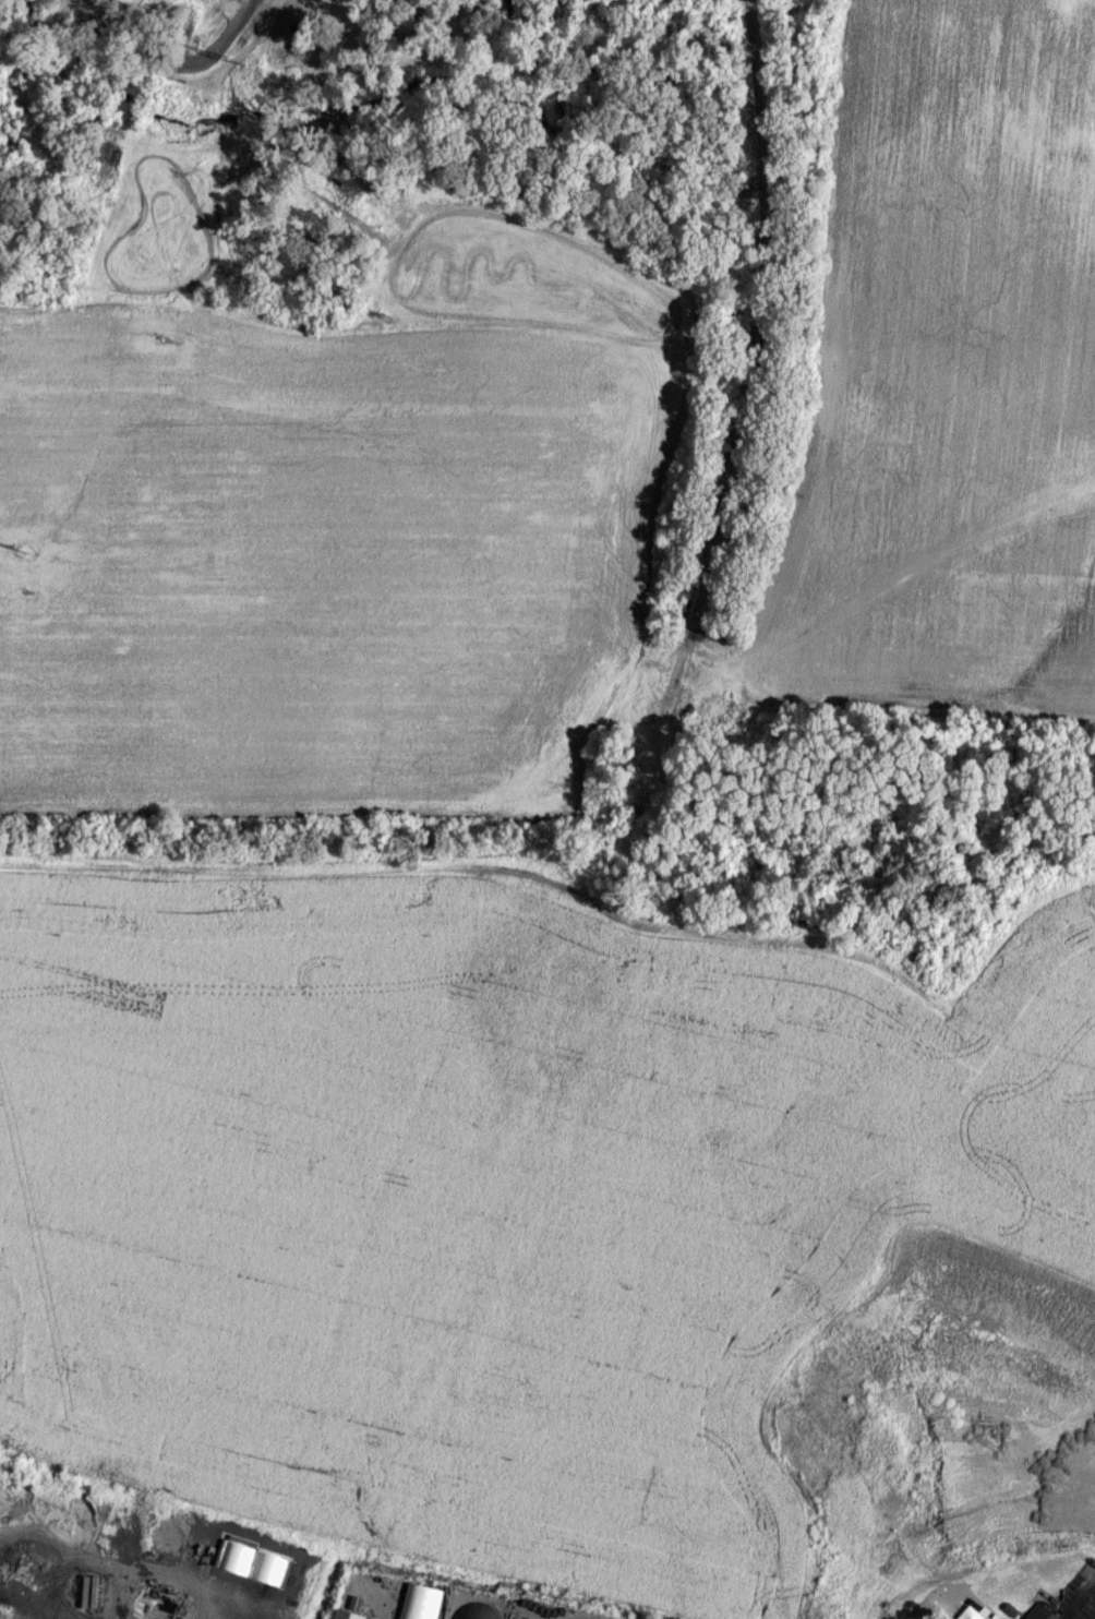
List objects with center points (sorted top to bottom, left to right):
power tower: (232, 55)
power tower: (19, 540)
road: (1080, 1595)
building: (420, 1602)
building: (477, 1610)
building: (1039, 1611)
building: (346, 1614)
building: (986, 1617)
road: (567, 1618)

